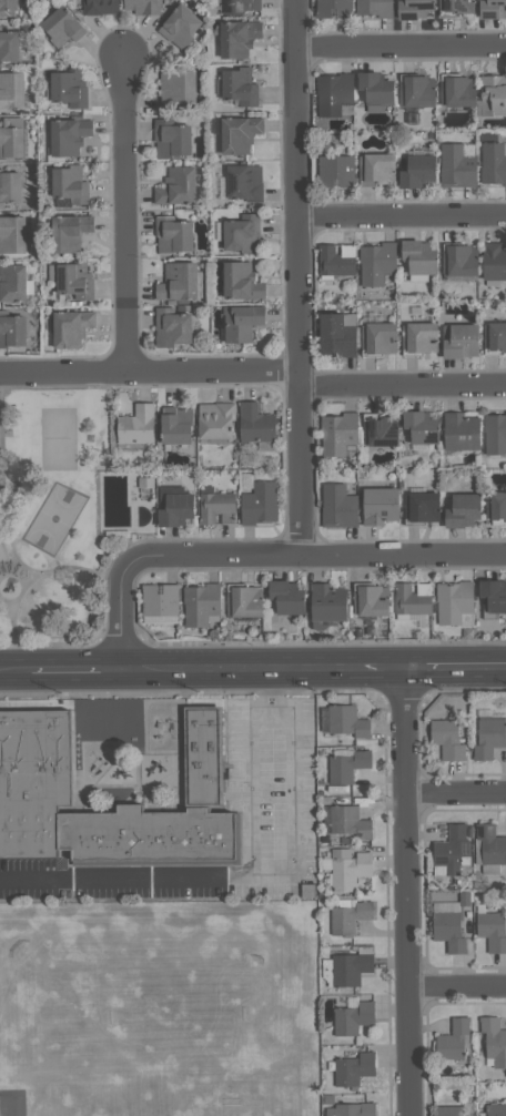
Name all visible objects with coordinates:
building: (239, 6)
building: (456, 6)
building: (8, 7)
building: (99, 7)
building: (141, 7)
building: (375, 8)
building: (413, 8)
building: (334, 9)
building: (493, 9)
building: (62, 26)
building: (180, 26)
building: (237, 38)
building: (8, 44)
road: (401, 45)
building: (239, 85)
building: (178, 87)
building: (68, 88)
building: (373, 88)
building: (11, 90)
building: (416, 91)
building: (457, 91)
building: (334, 93)
building: (493, 93)
building: (239, 133)
building: (68, 135)
building: (11, 136)
building: (170, 138)
building: (493, 163)
building: (455, 165)
building: (376, 169)
building: (336, 171)
building: (417, 172)
building: (244, 182)
building: (69, 184)
building: (9, 186)
building: (176, 186)
road: (401, 215)
road: (123, 216)
building: (69, 232)
building: (242, 233)
building: (12, 234)
building: (172, 234)
building: (418, 256)
building: (459, 260)
building: (493, 261)
building: (334, 262)
building: (376, 263)
road: (295, 278)
building: (74, 281)
building: (241, 281)
building: (178, 282)
building: (12, 283)
building: (241, 321)
building: (70, 327)
building: (171, 327)
building: (12, 328)
building: (336, 335)
building: (378, 336)
building: (419, 336)
building: (494, 336)
building: (459, 341)
road: (148, 372)
road: (401, 386)
building: (215, 419)
building: (255, 424)
building: (135, 425)
building: (175, 426)
building: (421, 426)
park: (0, 428)
building: (381, 430)
building: (459, 432)
building: (337, 434)
building: (495, 434)
building: (259, 503)
building: (173, 505)
building: (378, 505)
building: (495, 505)
building: (214, 506)
building: (337, 506)
building: (421, 507)
building: (462, 510)
park: (55, 518)
park: (50, 520)
road: (11, 538)
road: (4, 554)
road: (402, 557)
road: (212, 561)
road: (24, 586)
building: (493, 595)
building: (286, 597)
building: (160, 599)
building: (370, 600)
building: (409, 600)
building: (244, 601)
building: (453, 601)
building: (326, 602)
building: (200, 603)
road: (107, 606)
road: (126, 620)
road: (14, 630)
road: (456, 672)
road: (267, 674)
road: (16, 676)
road: (80, 676)
building: (346, 721)
building: (488, 735)
building: (446, 739)
building: (33, 758)
building: (346, 765)
road: (252, 785)
road: (457, 794)
building: (347, 822)
building: (490, 844)
building: (451, 848)
building: (347, 869)
road: (294, 874)
road: (37, 879)
road: (409, 894)
building: (348, 917)
building: (447, 931)
building: (492, 931)
building: (348, 968)
road: (458, 986)
building: (352, 1018)
building: (452, 1039)
building: (494, 1041)
building: (353, 1068)
building: (351, 1109)
building: (496, 1109)
building: (447, 1112)

